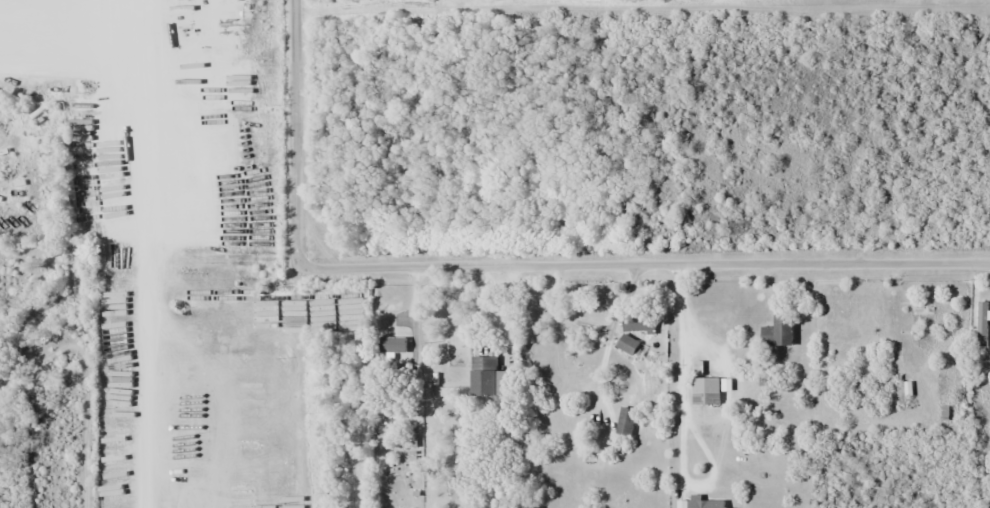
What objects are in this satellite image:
road: (295, 133)
road: (148, 239)
road: (645, 266)
building: (638, 323)
building: (984, 324)
building: (923, 327)
building: (778, 332)
building: (392, 345)
building: (627, 345)
building: (488, 379)
building: (705, 391)
building: (626, 422)
building: (704, 504)

